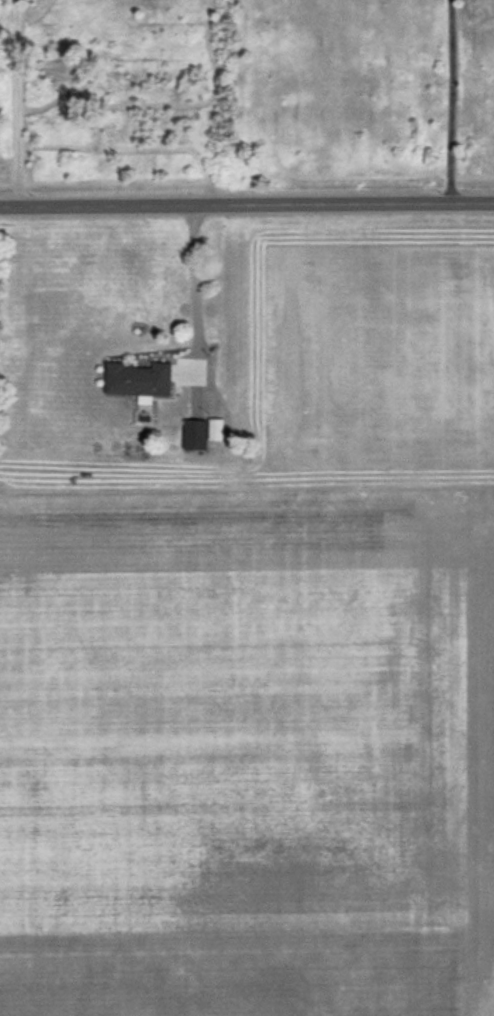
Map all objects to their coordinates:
road: (449, 101)
road: (15, 102)
road: (246, 203)
road: (193, 280)
building: (138, 380)
building: (200, 432)

